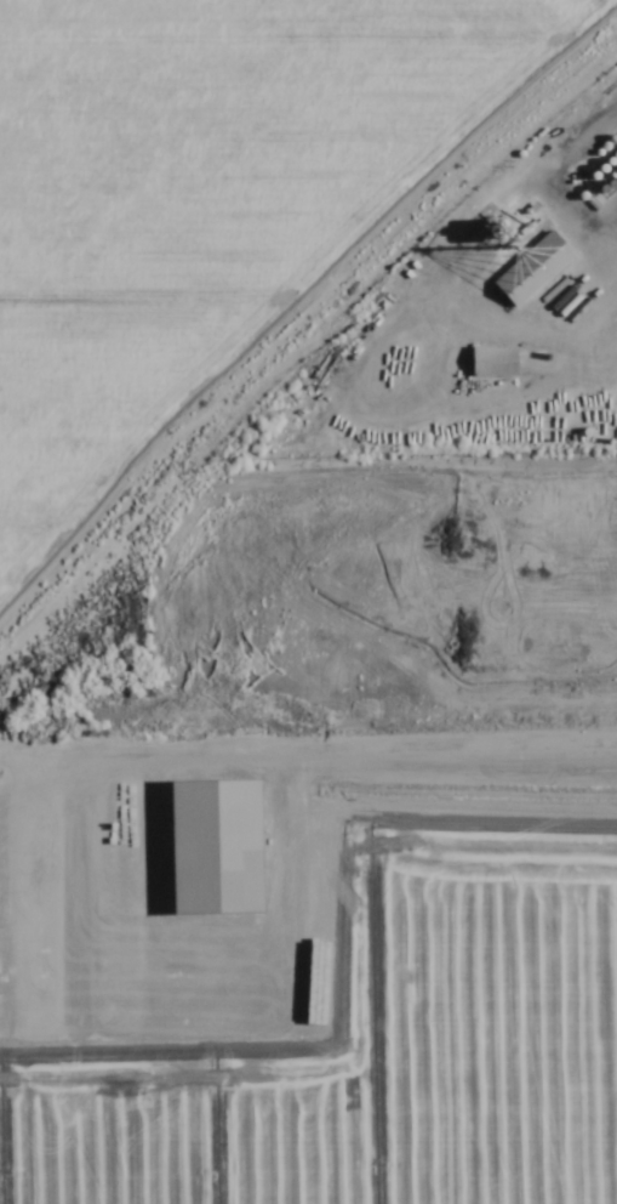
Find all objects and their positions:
building: (613, 138)
building: (607, 146)
building: (601, 153)
building: (616, 154)
building: (613, 161)
building: (606, 167)
building: (599, 175)
building: (613, 176)
building: (609, 182)
building: (577, 186)
building: (600, 187)
building: (583, 195)
railway: (481, 205)
building: (510, 222)
building: (502, 229)
building: (516, 231)
building: (509, 237)
building: (533, 267)
building: (495, 362)
crop: (308, 602)

